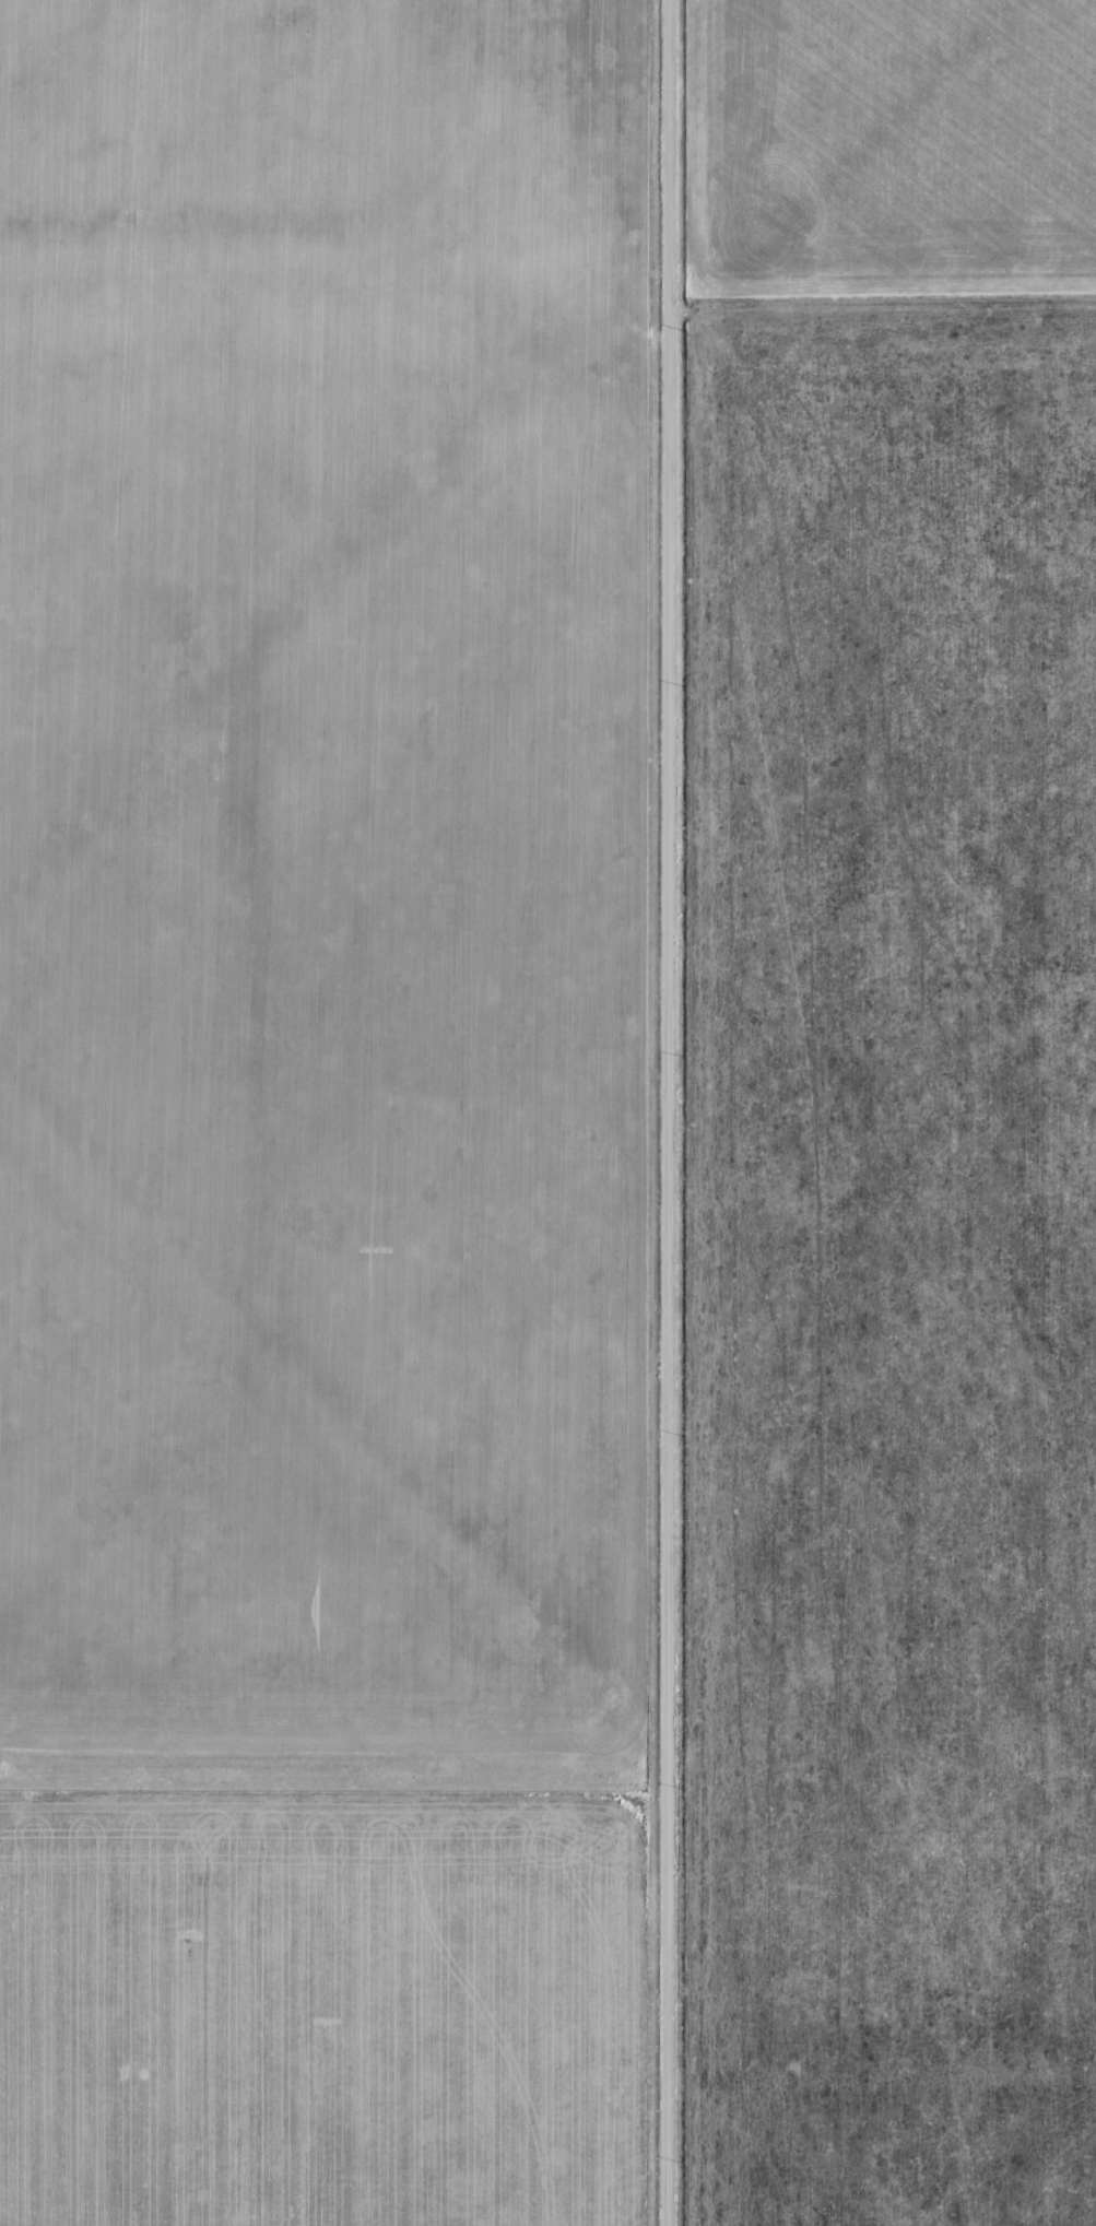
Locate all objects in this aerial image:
road: (881, 269)
road: (665, 1112)

